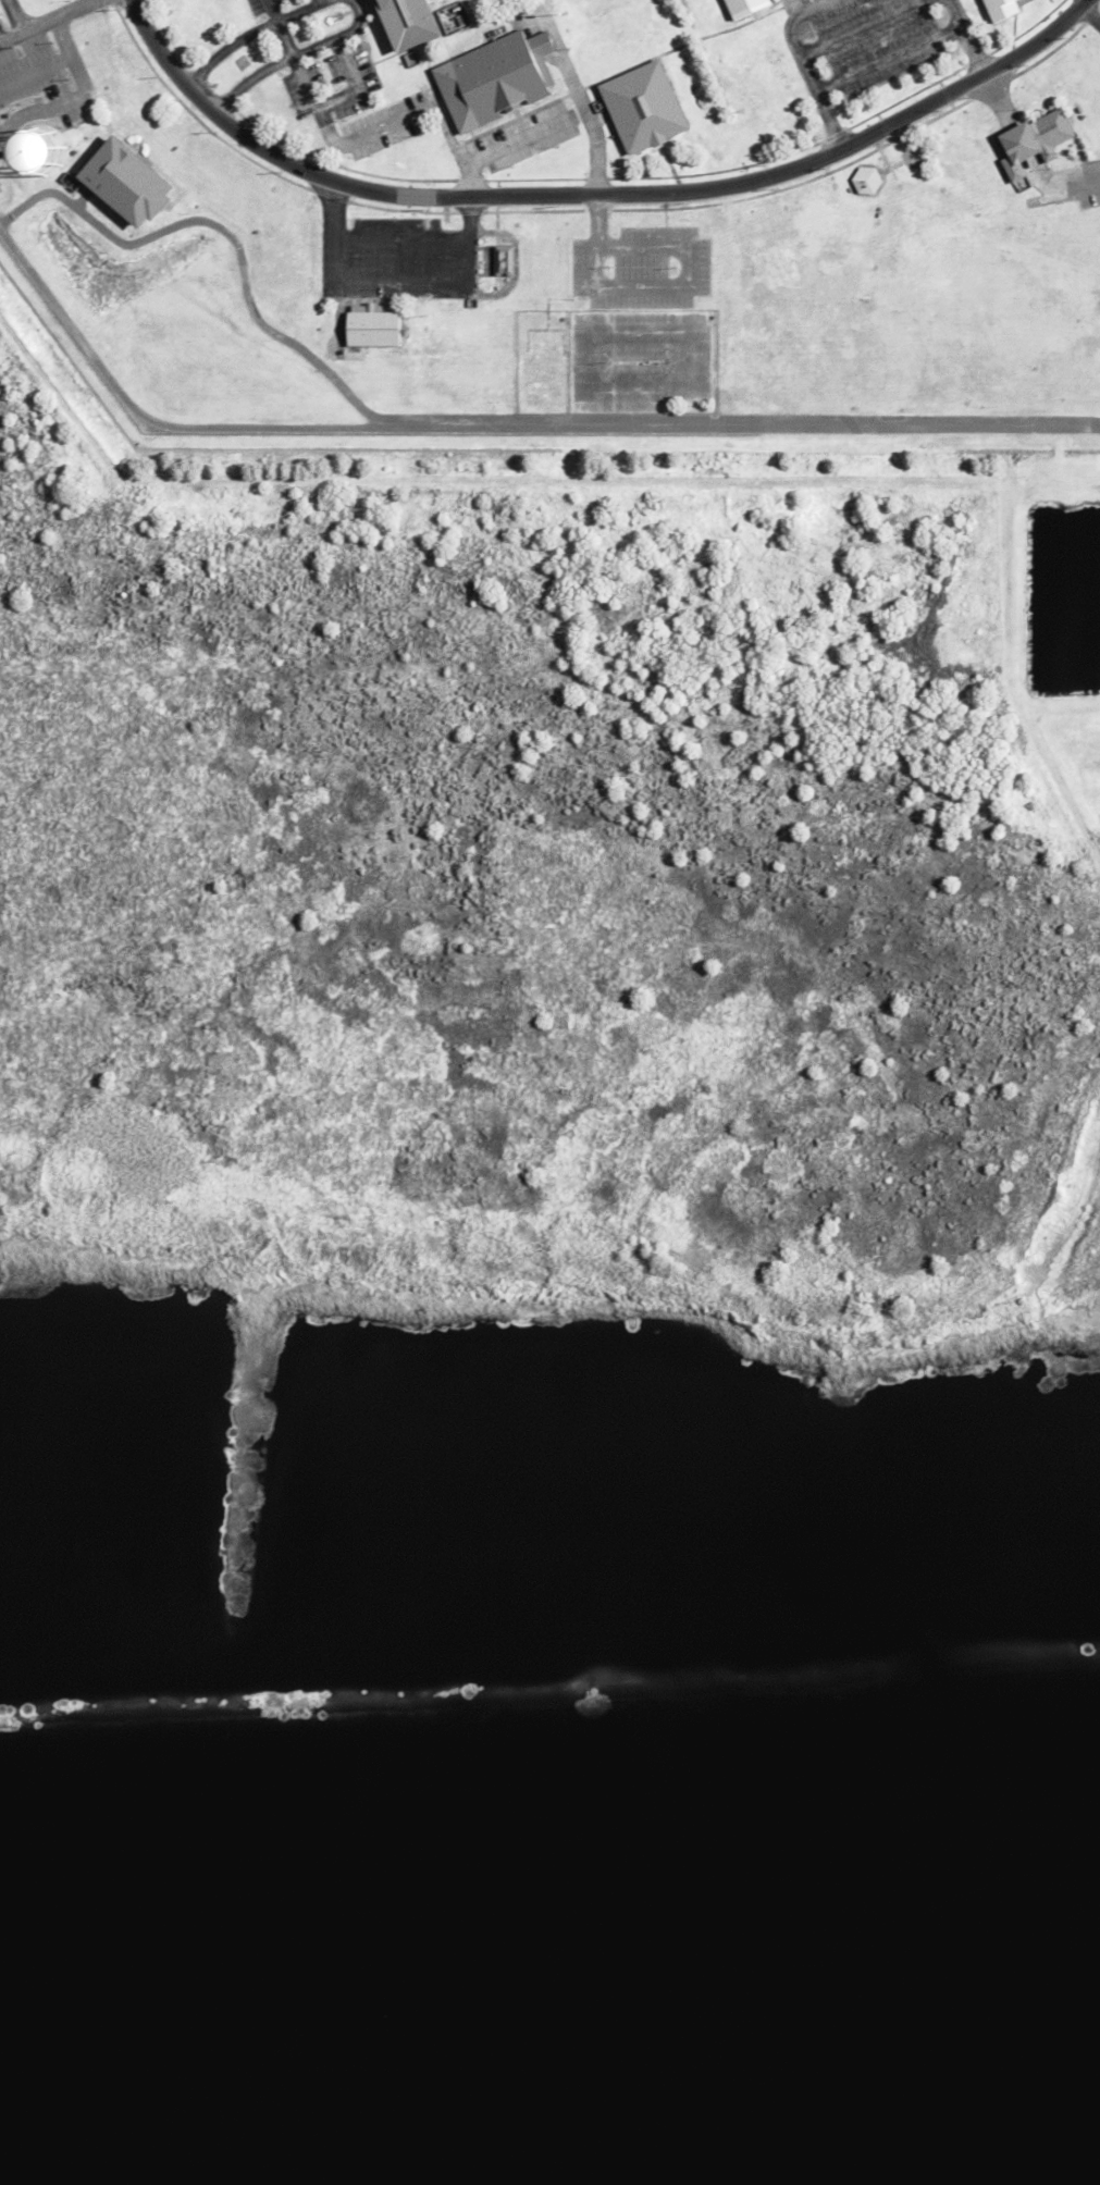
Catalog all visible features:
road: (1083, 2)
building: (743, 7)
building: (999, 10)
road: (1092, 13)
road: (10, 18)
building: (406, 24)
road: (249, 33)
road: (964, 36)
road: (294, 55)
road: (802, 66)
building: (493, 79)
road: (358, 85)
road: (318, 109)
building: (642, 109)
road: (593, 128)
building: (1031, 144)
building: (39, 149)
water tower: (39, 149)
road: (500, 149)
building: (912, 156)
building: (15, 162)
building: (864, 180)
building: (124, 187)
road: (595, 195)
building: (1031, 202)
road: (221, 231)
building: (502, 261)
building: (371, 328)
road: (500, 429)

